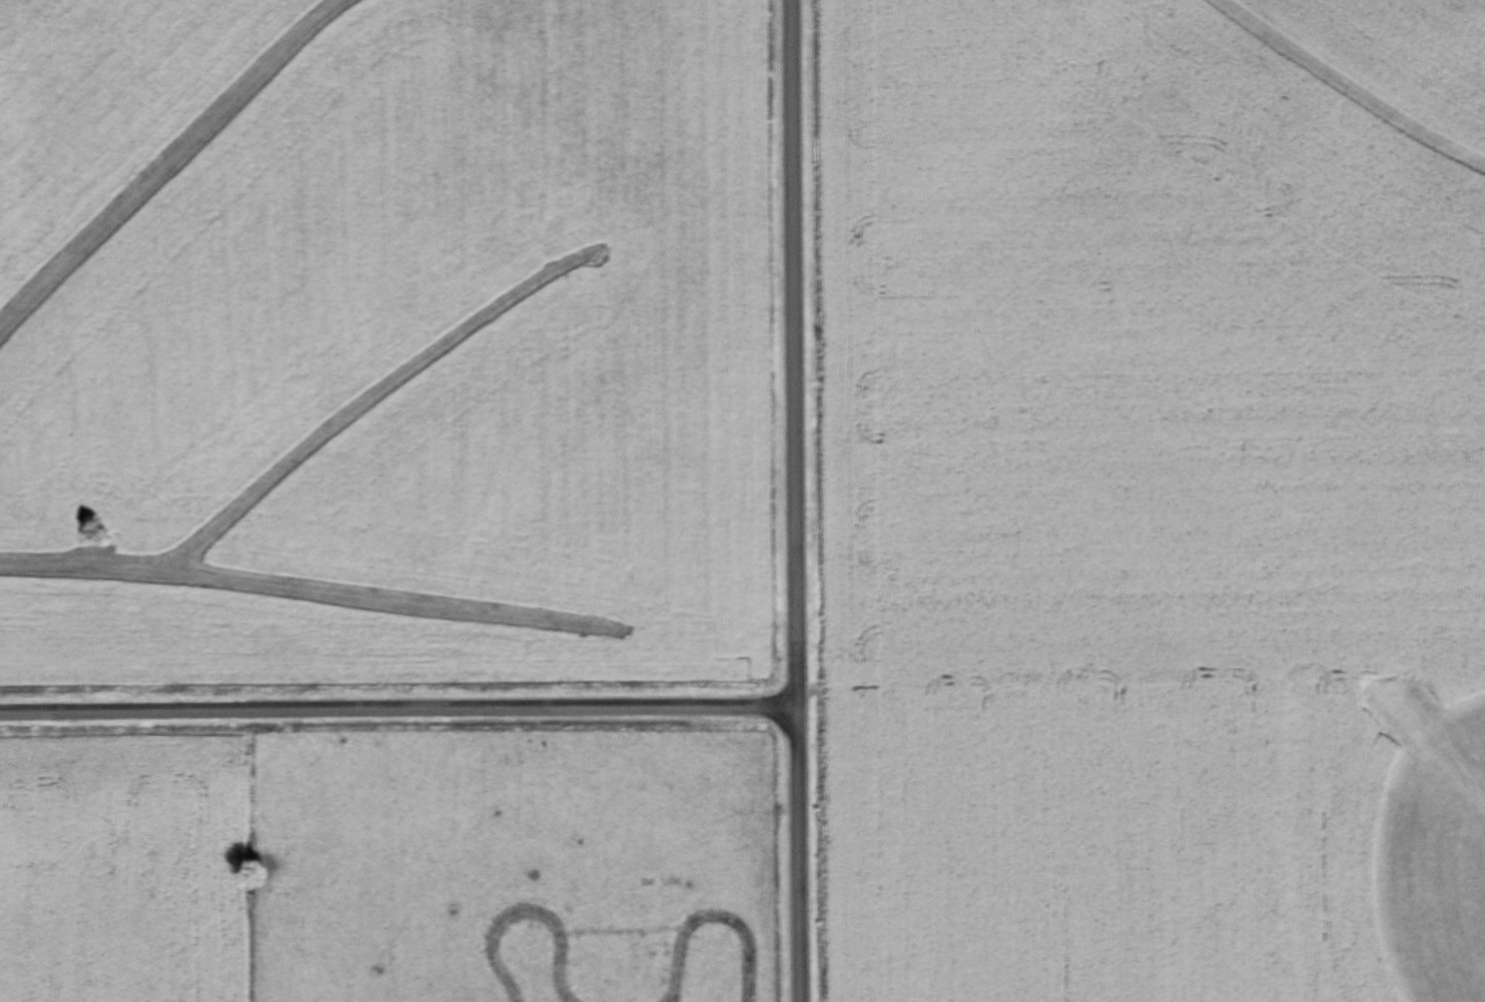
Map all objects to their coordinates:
road: (783, 356)
road: (393, 713)
road: (789, 857)

